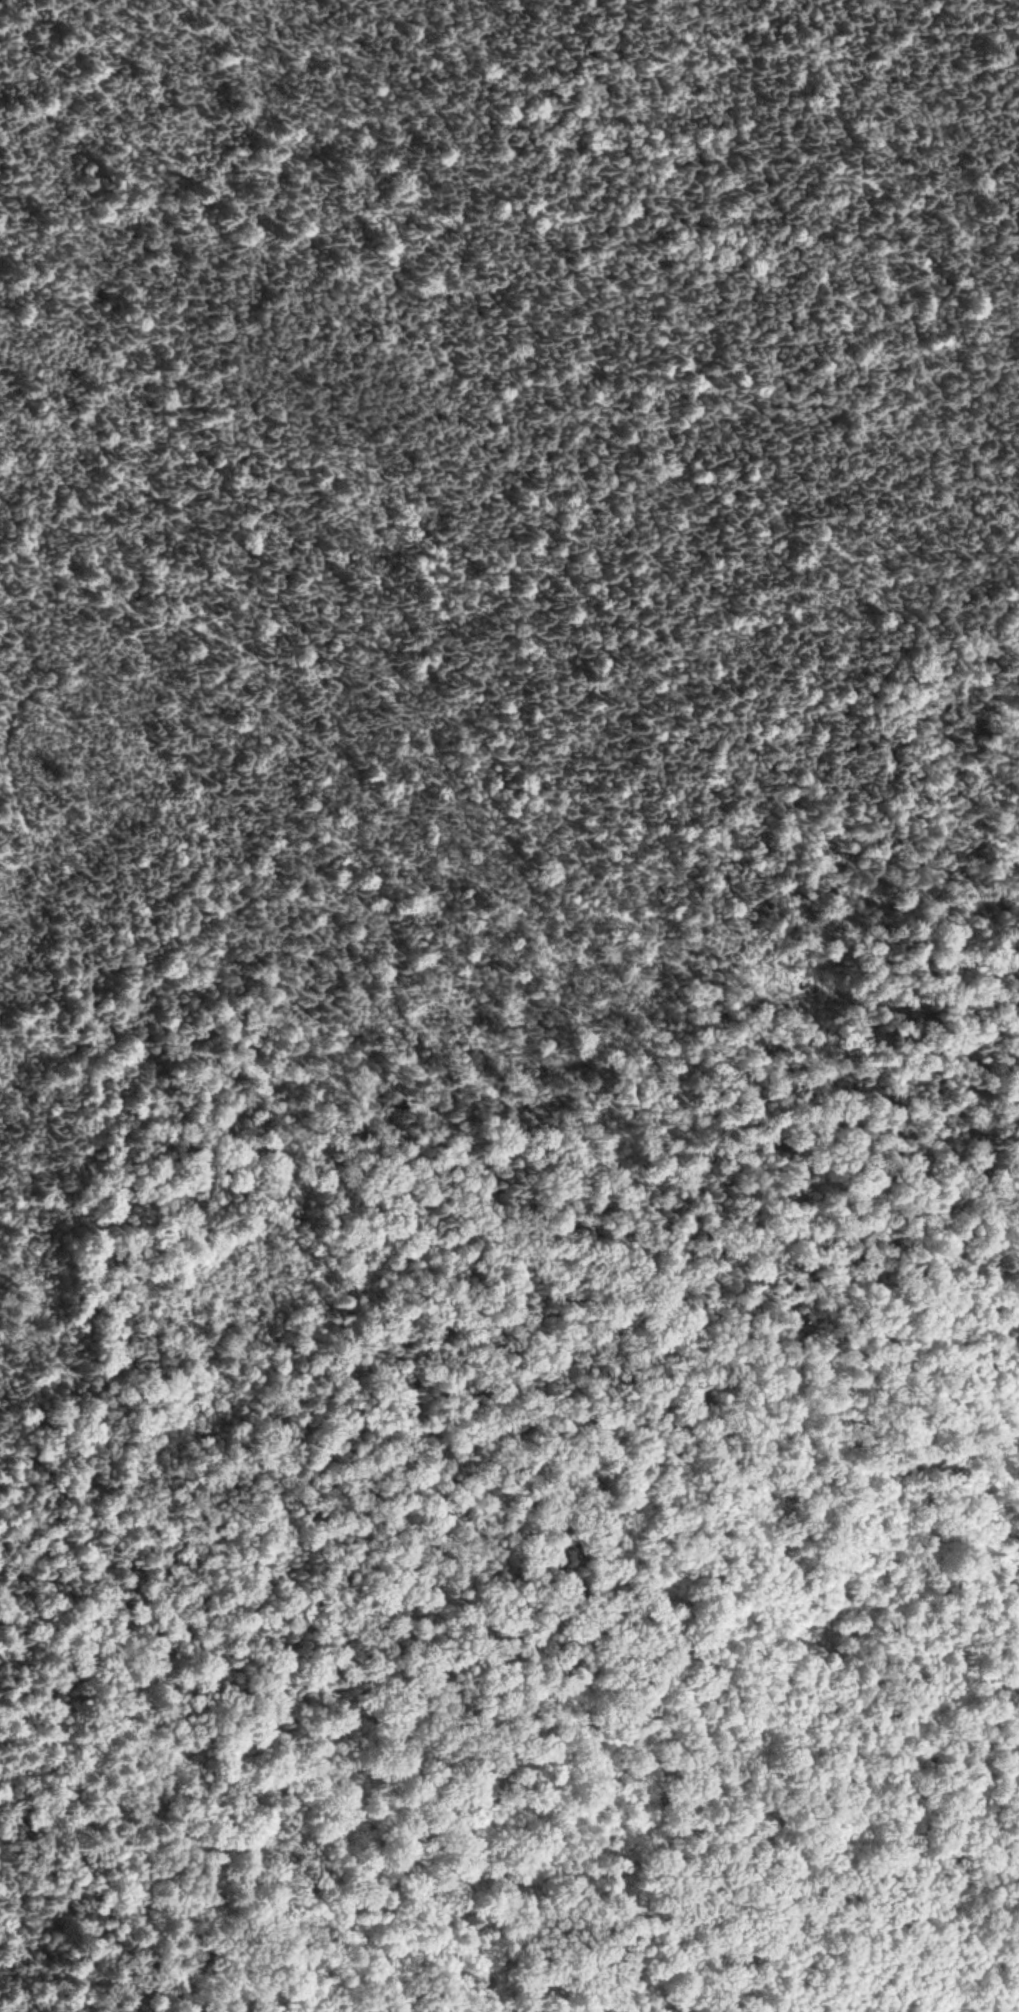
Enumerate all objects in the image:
road: (892, 286)
road: (2, 745)
road: (339, 1513)

